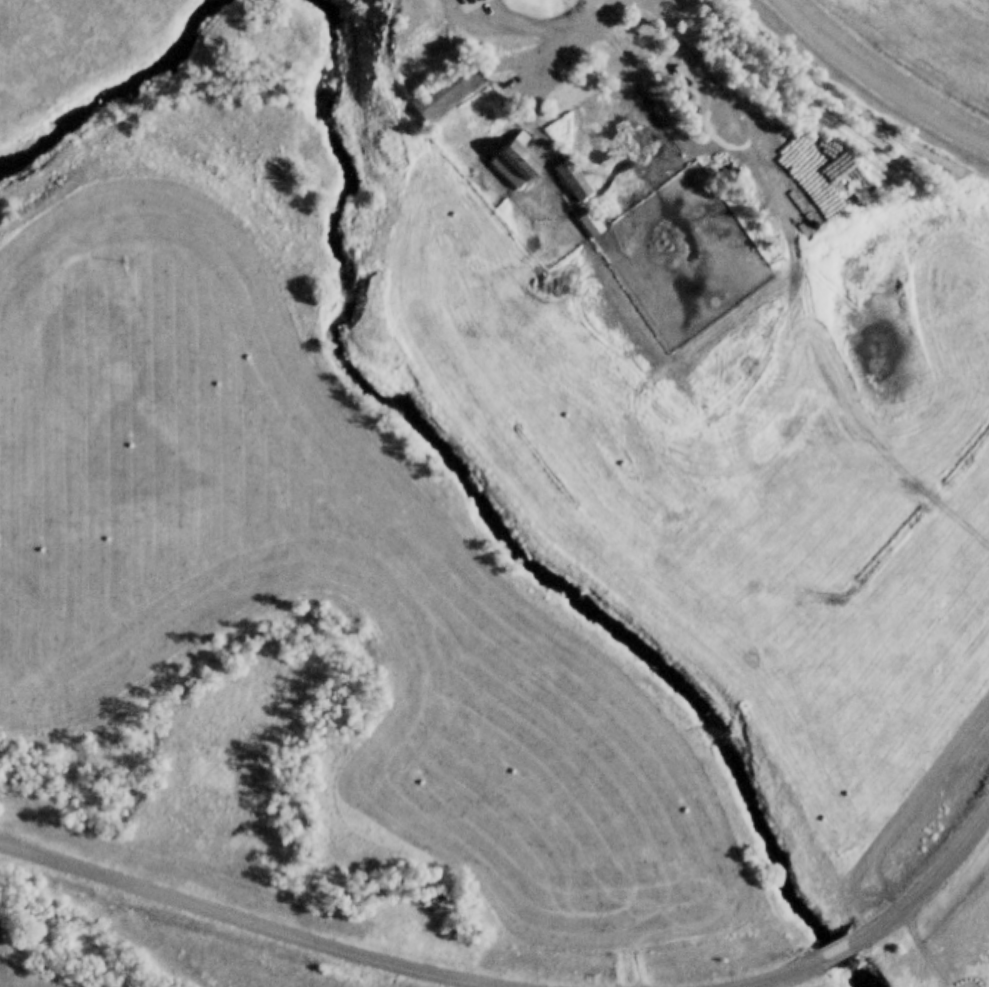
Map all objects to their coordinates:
road: (581, 39)
road: (874, 85)
building: (450, 92)
building: (521, 159)
building: (574, 181)
building: (591, 225)
road: (928, 884)
road: (240, 921)
road: (839, 954)
road: (788, 974)

